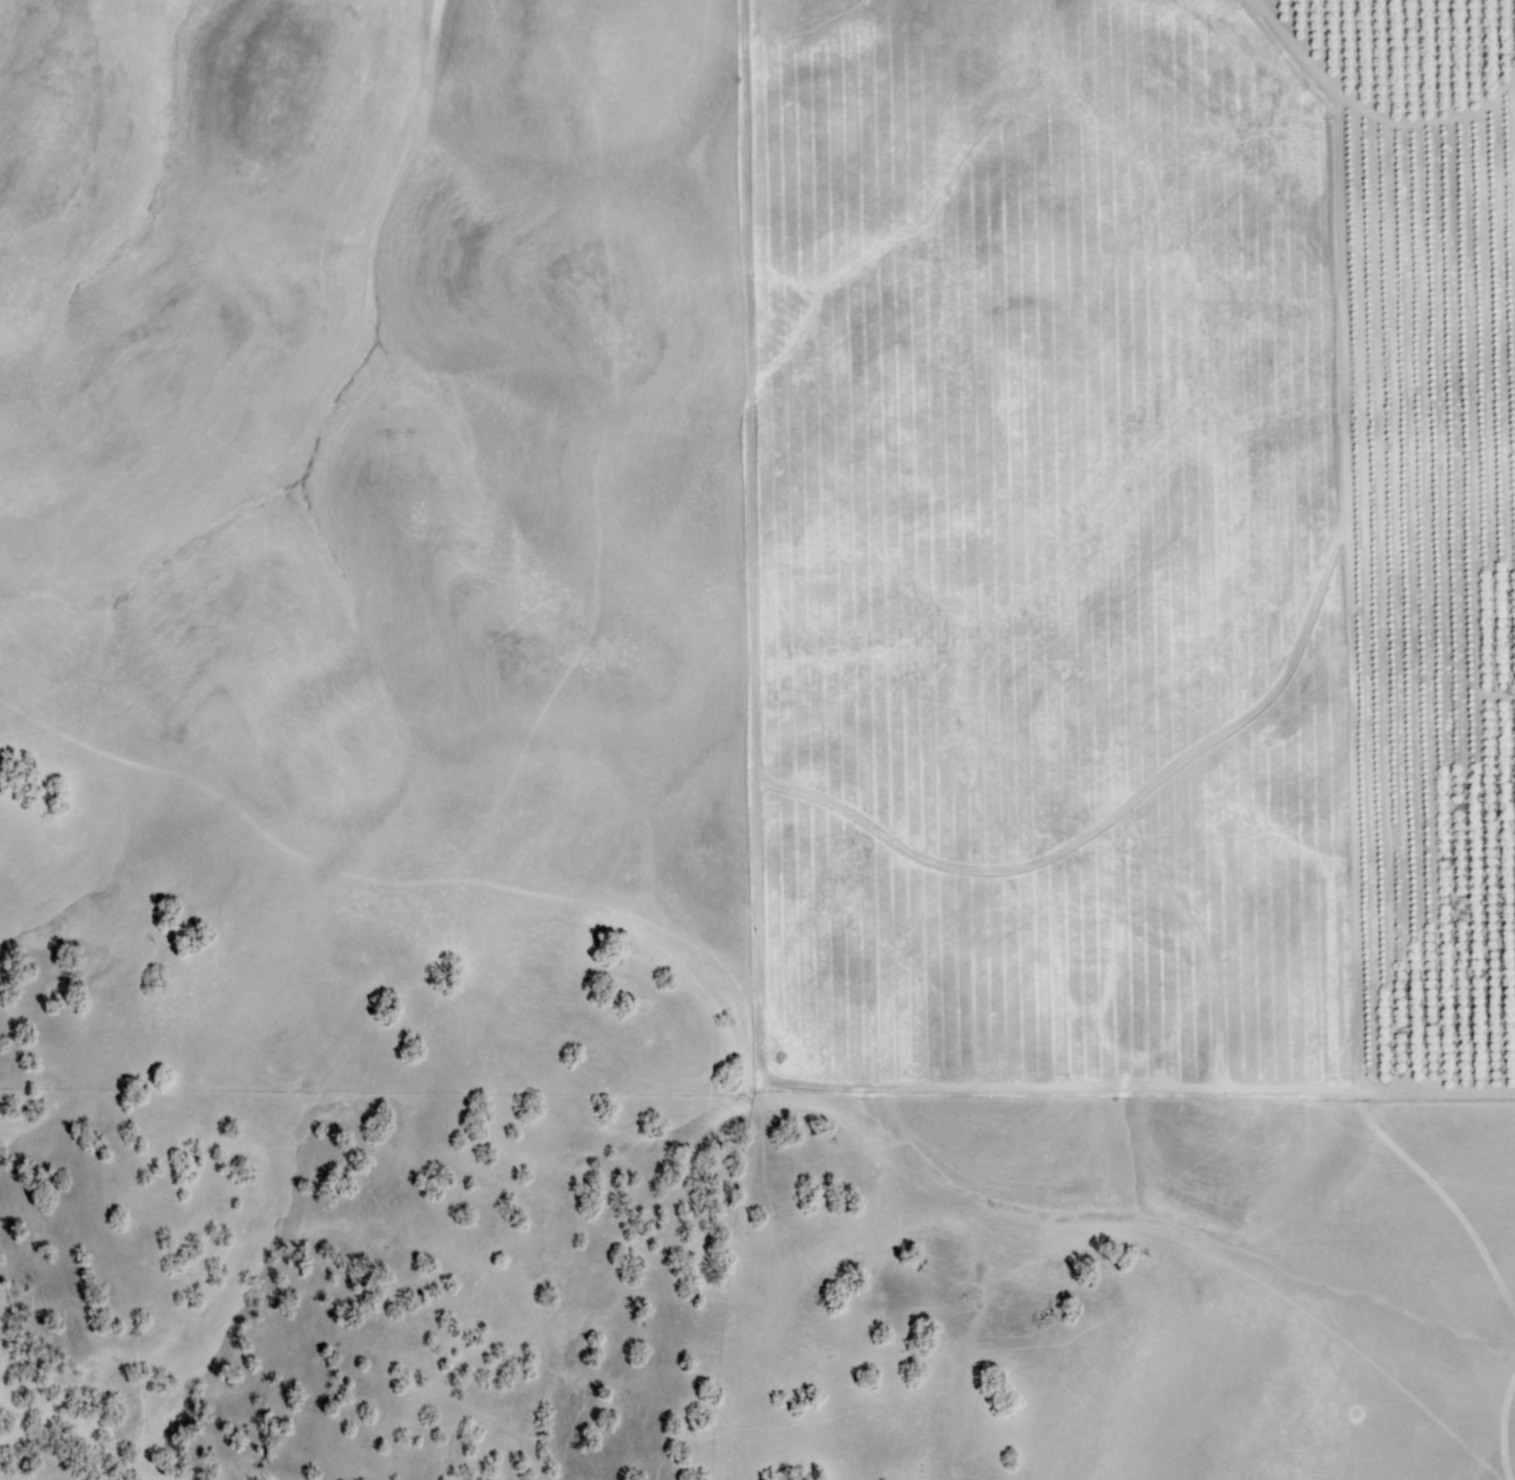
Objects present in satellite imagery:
crop: (1041, 552)

